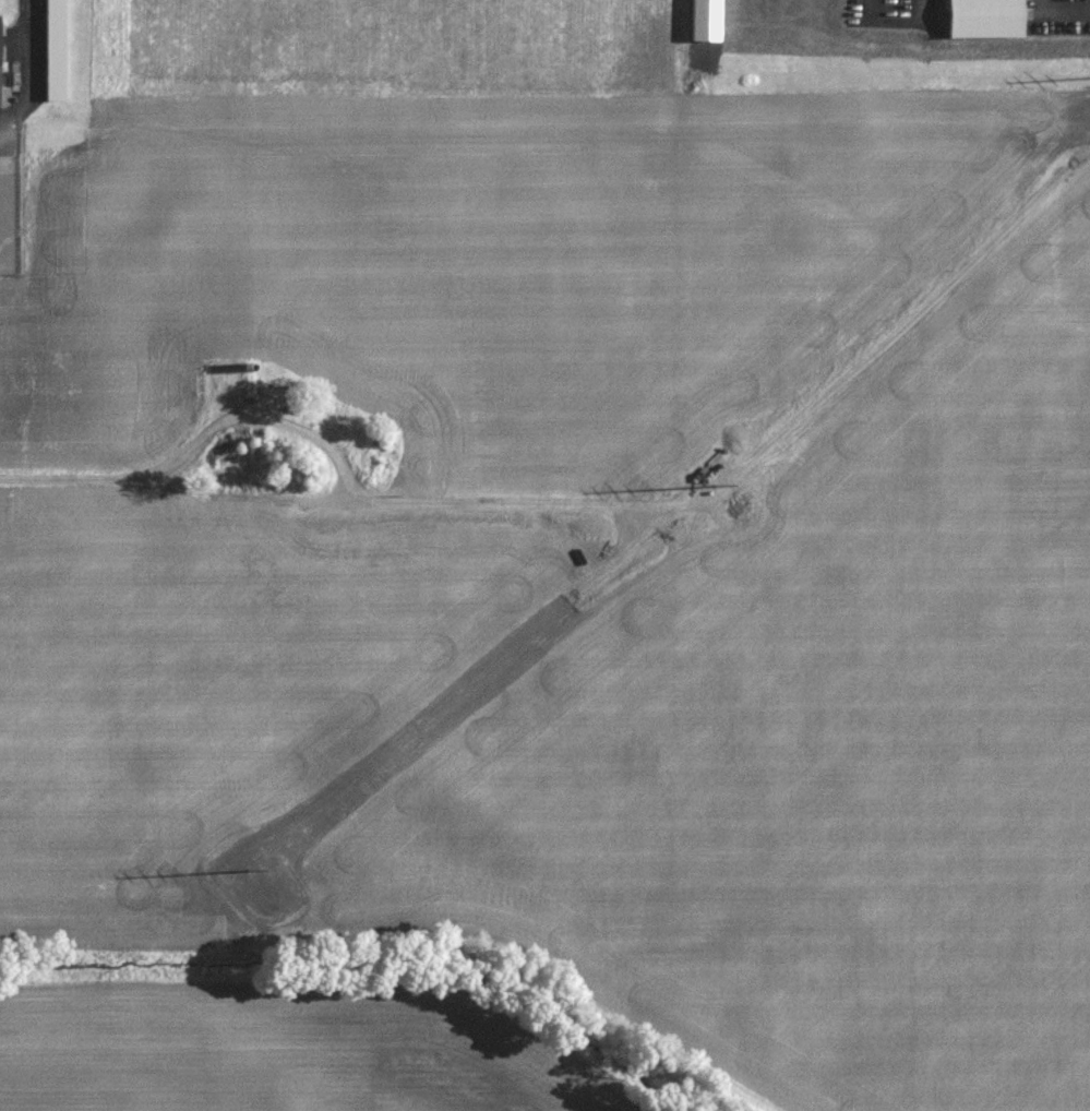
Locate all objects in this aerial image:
building: (986, 19)
building: (0, 50)
building: (56, 51)
road: (151, 474)
power tower: (740, 509)
power tower: (269, 895)

